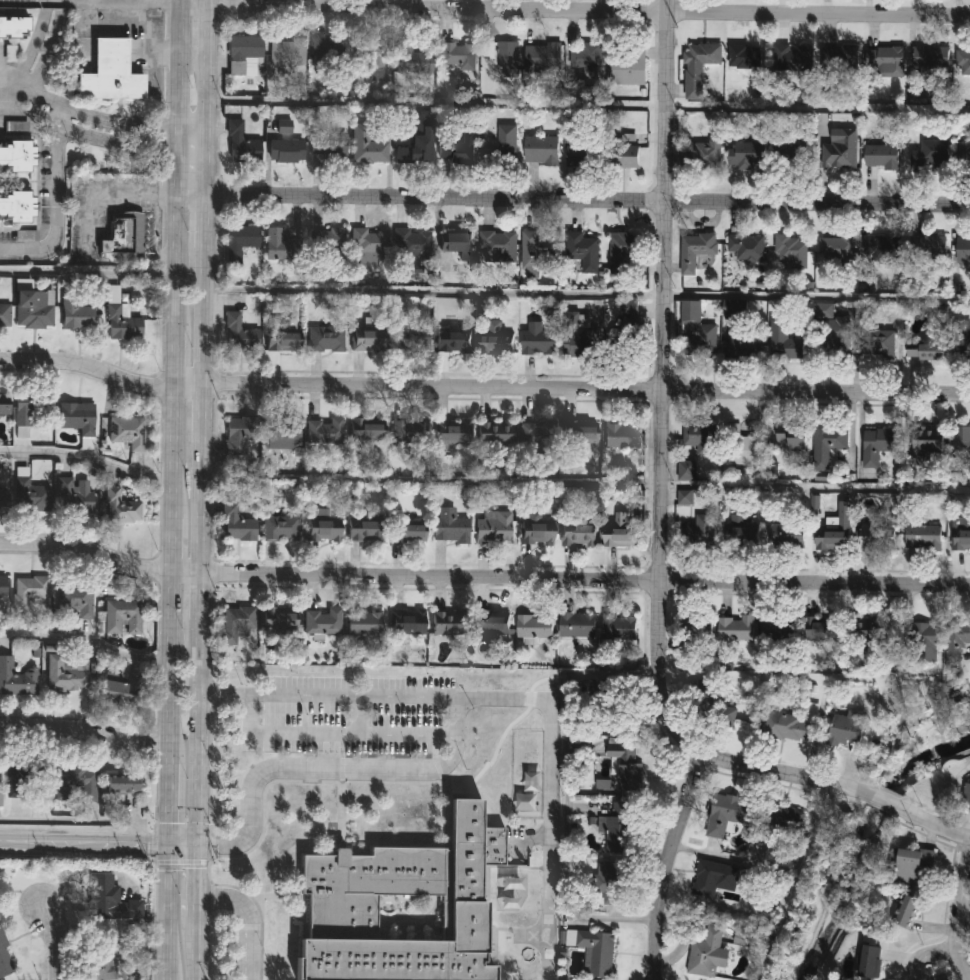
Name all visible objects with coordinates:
road: (65, 0)
road: (122, 0)
road: (574, 9)
building: (14, 26)
building: (288, 52)
building: (328, 52)
road: (30, 53)
building: (377, 53)
building: (244, 54)
building: (931, 54)
building: (502, 55)
building: (586, 55)
building: (743, 55)
building: (458, 56)
building: (542, 57)
building: (792, 57)
building: (841, 58)
building: (412, 59)
building: (886, 59)
building: (962, 59)
building: (698, 65)
building: (627, 66)
building: (111, 73)
road: (4, 95)
road: (435, 101)
road: (4, 105)
road: (817, 105)
road: (104, 124)
road: (100, 140)
building: (240, 143)
building: (506, 143)
building: (367, 146)
building: (540, 148)
building: (840, 149)
building: (286, 150)
building: (412, 150)
building: (457, 150)
building: (329, 151)
building: (880, 152)
building: (581, 154)
building: (704, 154)
building: (792, 154)
building: (930, 154)
building: (963, 154)
building: (15, 155)
building: (623, 155)
building: (753, 158)
road: (573, 198)
road: (55, 201)
building: (15, 206)
building: (27, 236)
building: (122, 239)
building: (238, 241)
building: (329, 241)
building: (456, 243)
building: (413, 244)
building: (746, 245)
building: (280, 246)
building: (370, 246)
building: (497, 246)
building: (836, 247)
building: (883, 247)
building: (963, 247)
building: (928, 248)
building: (583, 249)
building: (696, 249)
building: (791, 249)
building: (535, 254)
building: (625, 254)
road: (87, 272)
road: (431, 288)
road: (814, 293)
building: (733, 306)
building: (32, 308)
building: (4, 314)
building: (74, 314)
building: (118, 318)
building: (696, 330)
building: (836, 333)
building: (962, 335)
building: (238, 336)
building: (575, 336)
building: (284, 337)
building: (624, 337)
building: (410, 338)
building: (538, 338)
building: (325, 339)
building: (368, 340)
building: (783, 341)
building: (453, 342)
building: (496, 342)
building: (744, 342)
building: (878, 344)
building: (924, 349)
road: (483, 388)
building: (4, 404)
building: (26, 407)
building: (76, 418)
road: (204, 424)
building: (366, 429)
building: (325, 430)
building: (409, 431)
building: (452, 431)
building: (580, 431)
building: (126, 432)
building: (539, 433)
building: (242, 434)
building: (494, 434)
building: (621, 435)
building: (699, 435)
building: (281, 436)
building: (792, 438)
building: (926, 439)
building: (828, 443)
building: (878, 443)
building: (961, 444)
building: (741, 446)
road: (86, 459)
road: (656, 473)
road: (429, 478)
road: (813, 482)
road: (171, 489)
building: (28, 495)
building: (72, 496)
building: (3, 500)
building: (121, 507)
building: (237, 523)
building: (450, 526)
building: (281, 528)
building: (493, 528)
building: (324, 529)
building: (536, 529)
building: (619, 530)
building: (699, 530)
building: (741, 530)
building: (835, 530)
building: (365, 531)
building: (960, 532)
building: (408, 533)
building: (577, 534)
building: (785, 534)
building: (922, 535)
building: (876, 539)
road: (482, 577)
building: (2, 587)
building: (26, 590)
building: (73, 599)
building: (120, 616)
building: (279, 618)
building: (322, 620)
building: (363, 621)
building: (408, 621)
building: (448, 621)
building: (490, 623)
building: (239, 624)
building: (577, 624)
building: (535, 625)
building: (620, 626)
building: (735, 627)
building: (778, 627)
building: (820, 627)
building: (862, 627)
building: (955, 636)
building: (920, 638)
road: (86, 641)
building: (64, 673)
building: (15, 679)
building: (120, 691)
road: (332, 697)
road: (362, 717)
building: (790, 723)
building: (845, 726)
road: (86, 728)
road: (339, 736)
building: (627, 765)
road: (335, 772)
building: (25, 776)
building: (73, 782)
building: (121, 784)
building: (967, 795)
road: (552, 797)
road: (887, 799)
building: (725, 812)
road: (79, 821)
road: (932, 823)
building: (618, 828)
road: (100, 842)
traffic signals: (169, 845)
traffic signals: (201, 848)
road: (662, 861)
building: (911, 864)
building: (715, 877)
building: (611, 880)
building: (388, 881)
road: (201, 886)
building: (110, 901)
road: (955, 909)
building: (909, 912)
road: (251, 920)
road: (961, 932)
road: (534, 937)
road: (54, 942)
building: (594, 948)
building: (708, 951)
road: (200, 952)
building: (870, 955)
road: (923, 956)
building: (104, 958)
building: (4, 961)
road: (959, 978)

